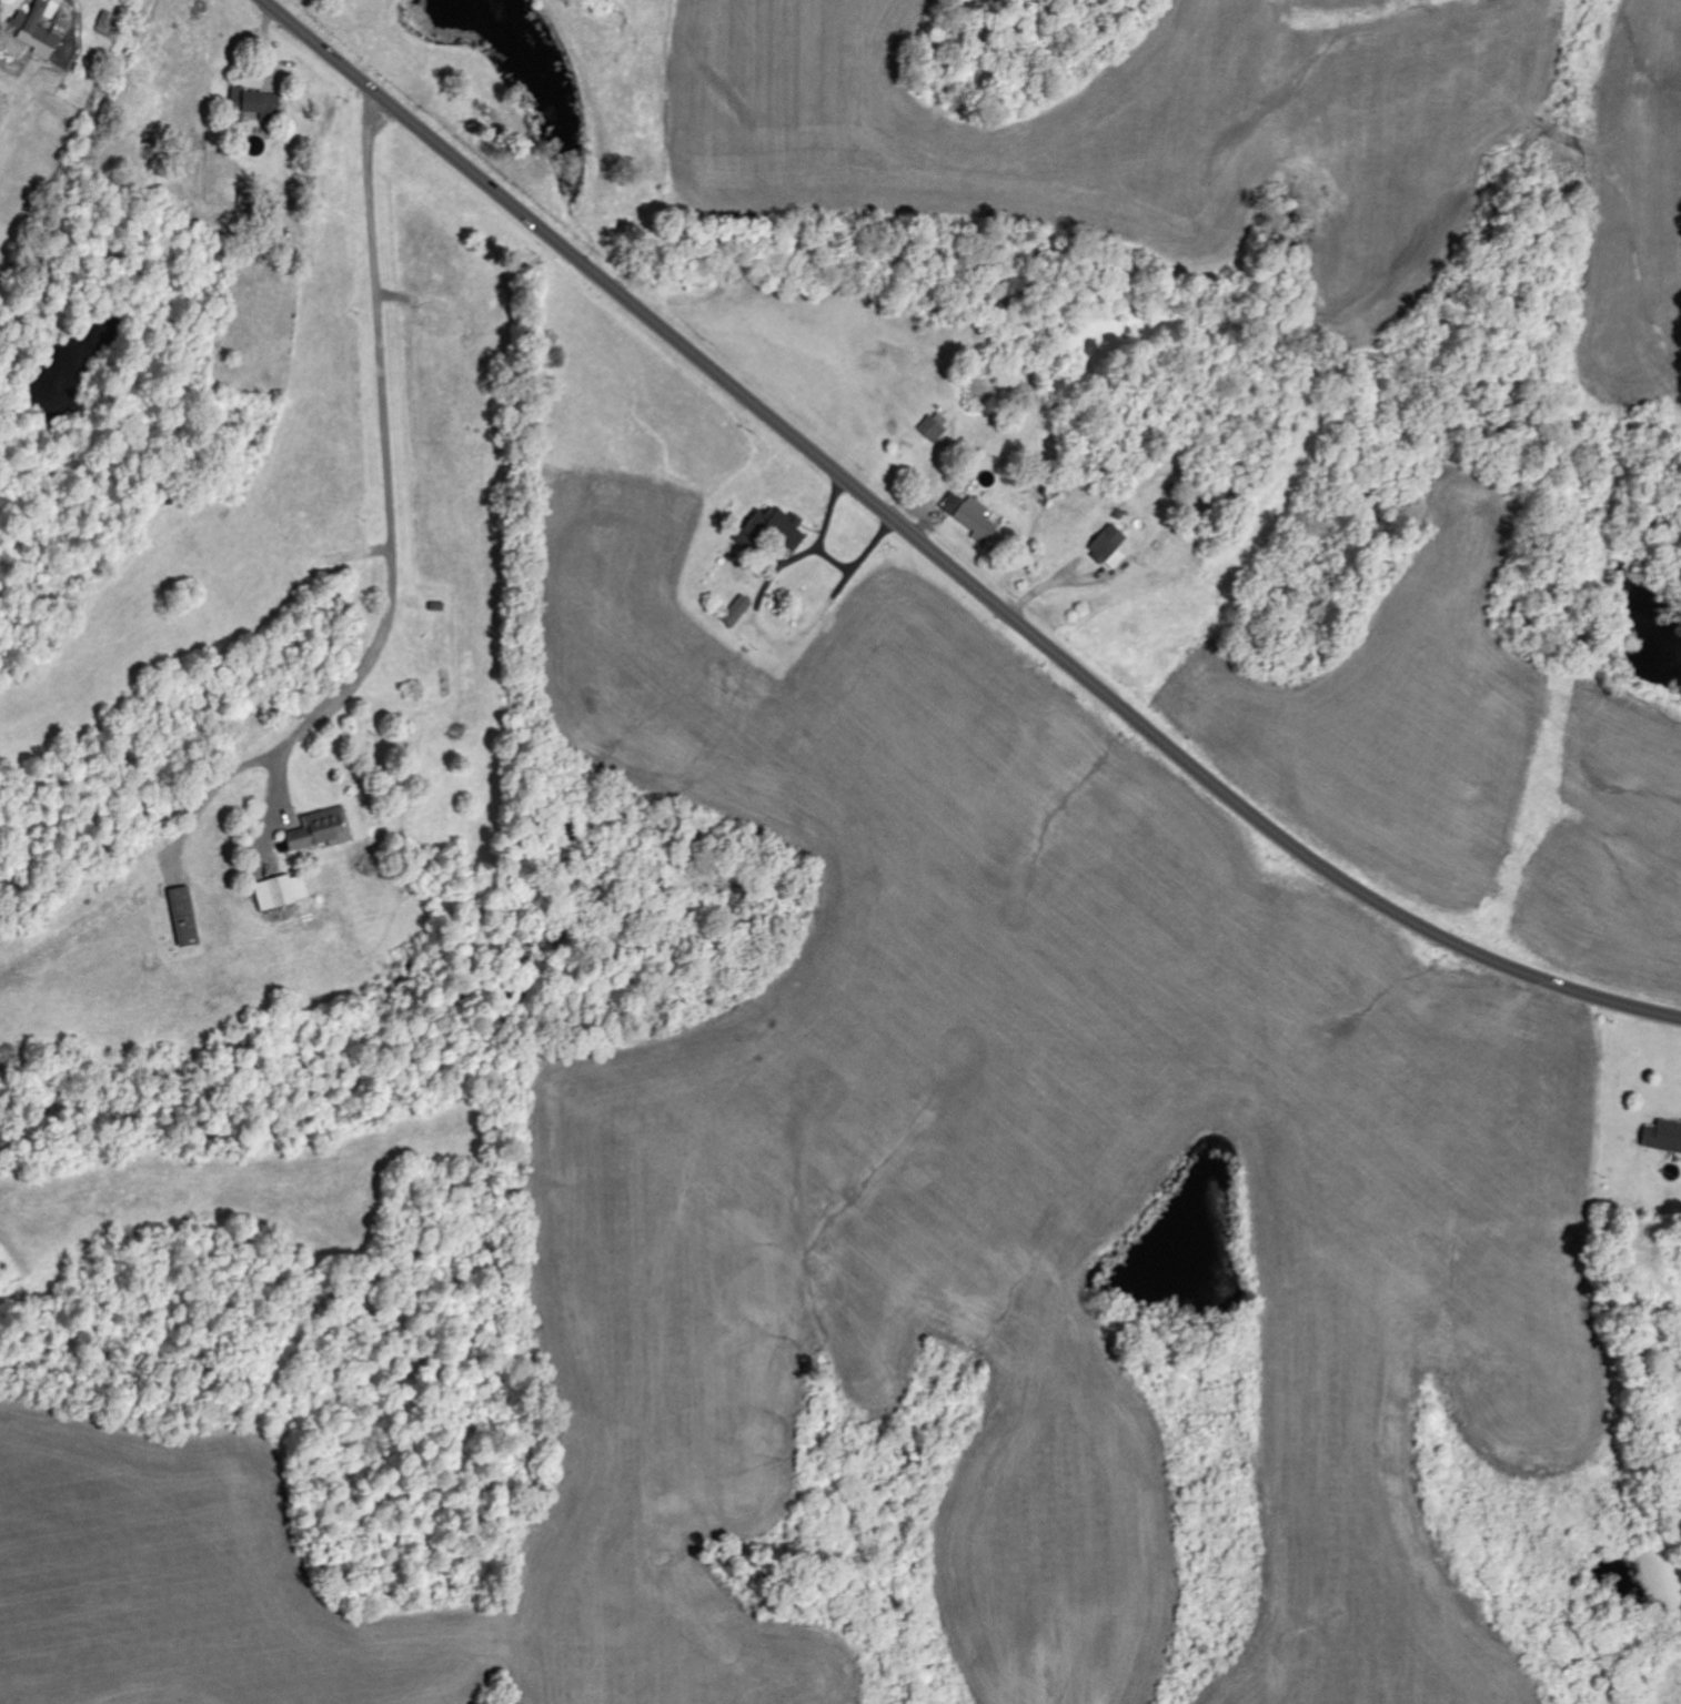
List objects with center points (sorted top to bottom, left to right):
building: (109, 20)
building: (43, 29)
building: (260, 103)
road: (161, 133)
building: (934, 430)
building: (954, 504)
building: (979, 521)
building: (768, 526)
building: (1111, 547)
road: (947, 556)
road: (505, 603)
building: (739, 612)
building: (322, 830)
building: (284, 893)
building: (187, 918)
building: (1664, 1138)

